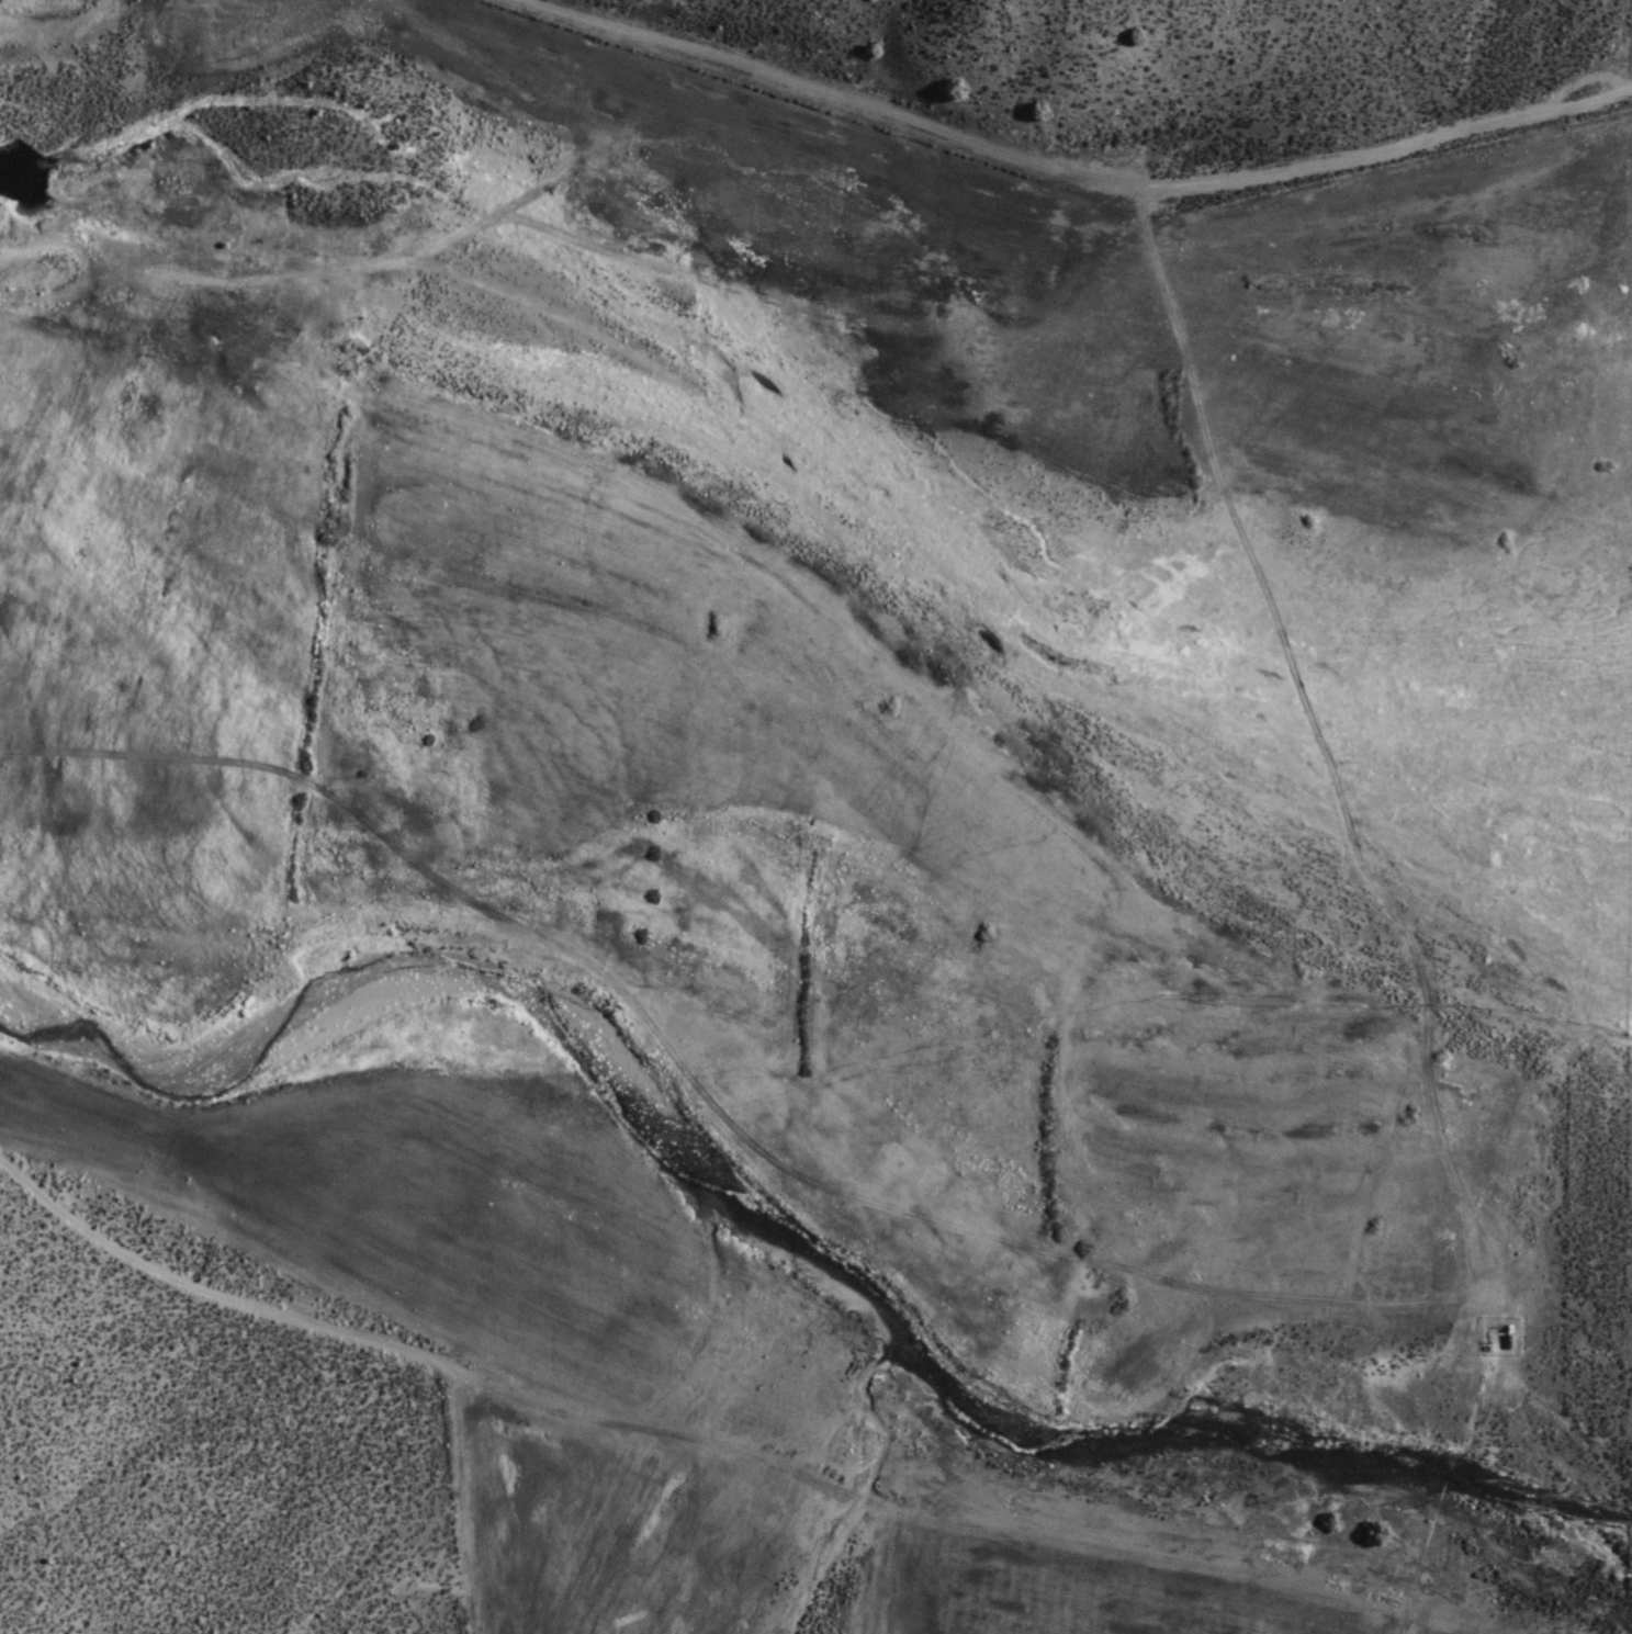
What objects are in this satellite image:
road: (1090, 49)

